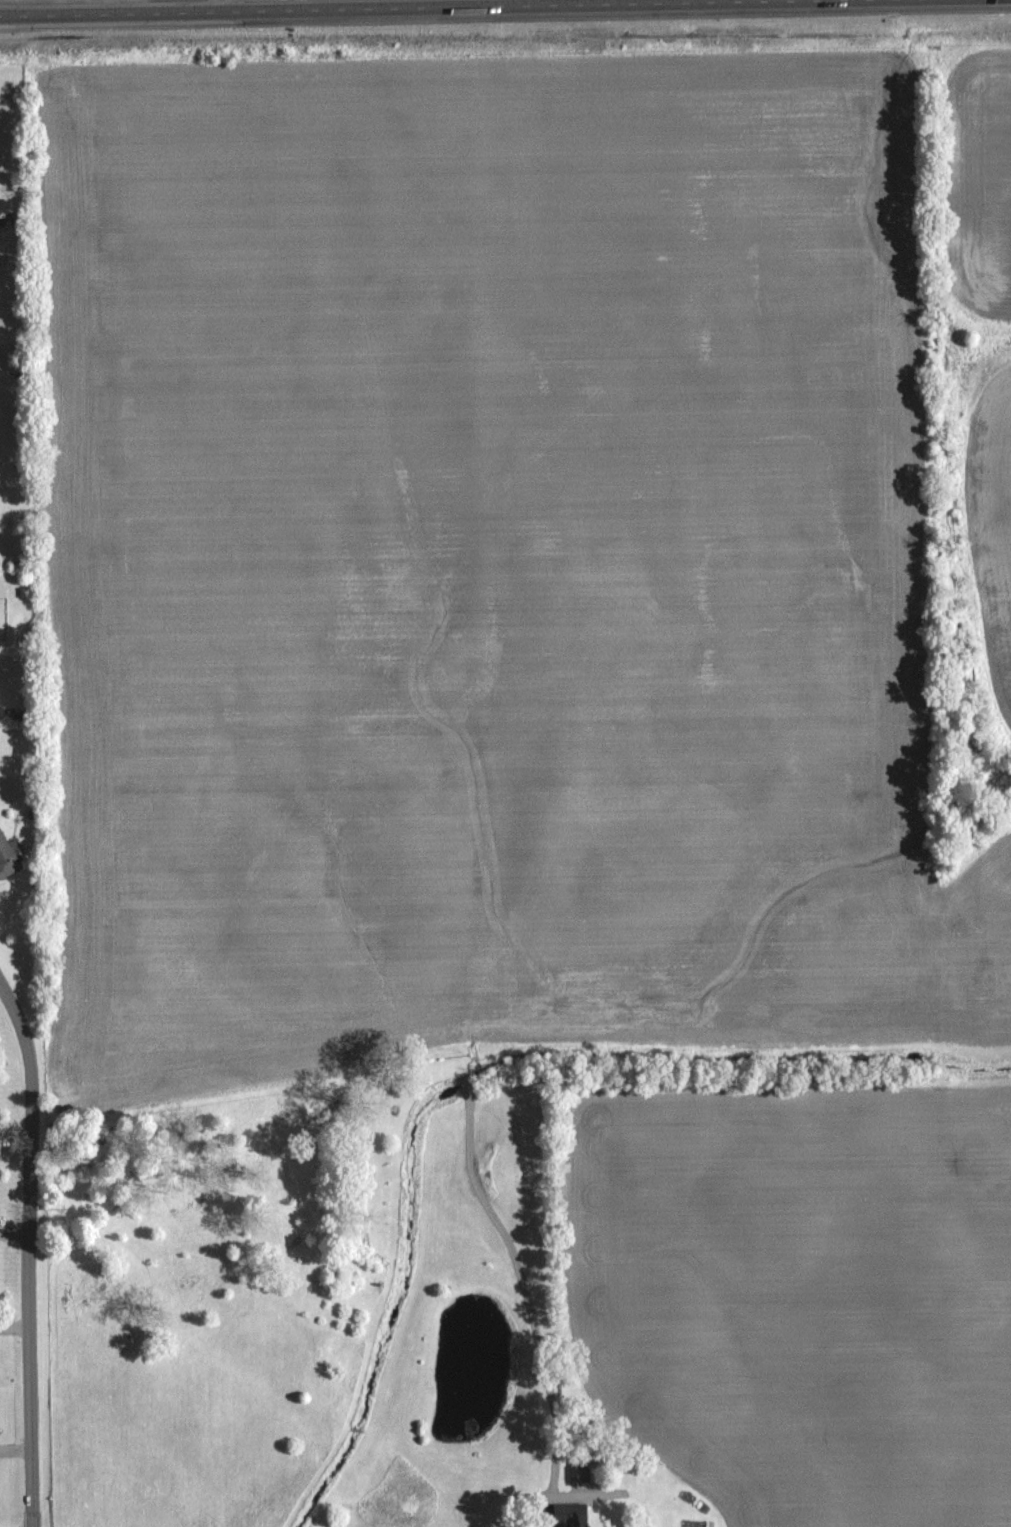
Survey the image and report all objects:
road: (221, 5)
road: (397, 7)
building: (19, 374)
building: (22, 591)
building: (19, 717)
building: (31, 815)
building: (8, 853)
road: (28, 1252)
road: (525, 1297)
building: (583, 1474)
building: (570, 1514)

